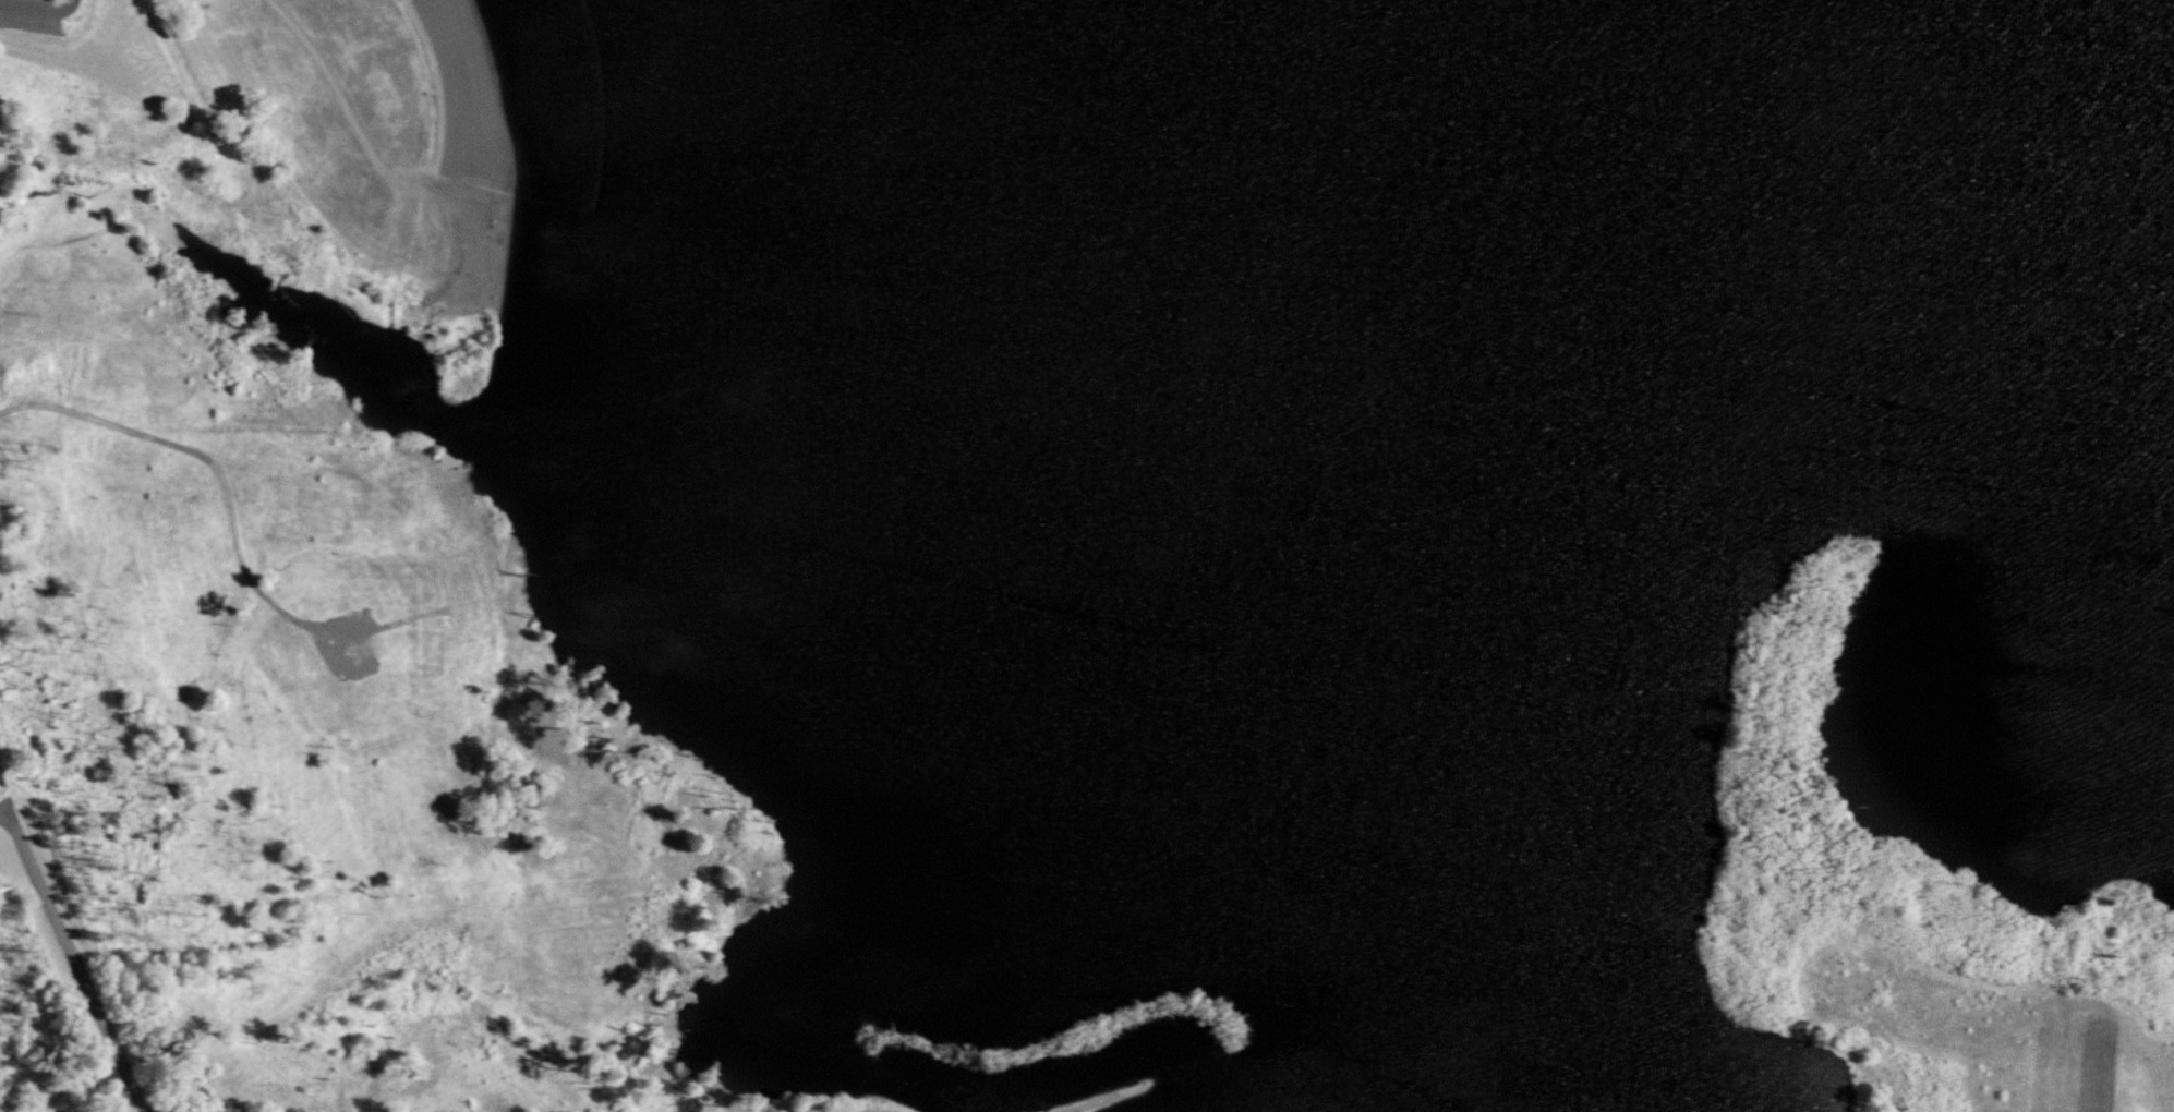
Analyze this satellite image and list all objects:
road: (37, 9)
parking lot: (27, 14)
road: (438, 85)
road: (352, 118)
road: (235, 548)
road: (2, 805)
road: (2, 814)
road: (72, 964)
road: (2133, 1049)
road: (1075, 1105)
parking lot: (867, 1110)

